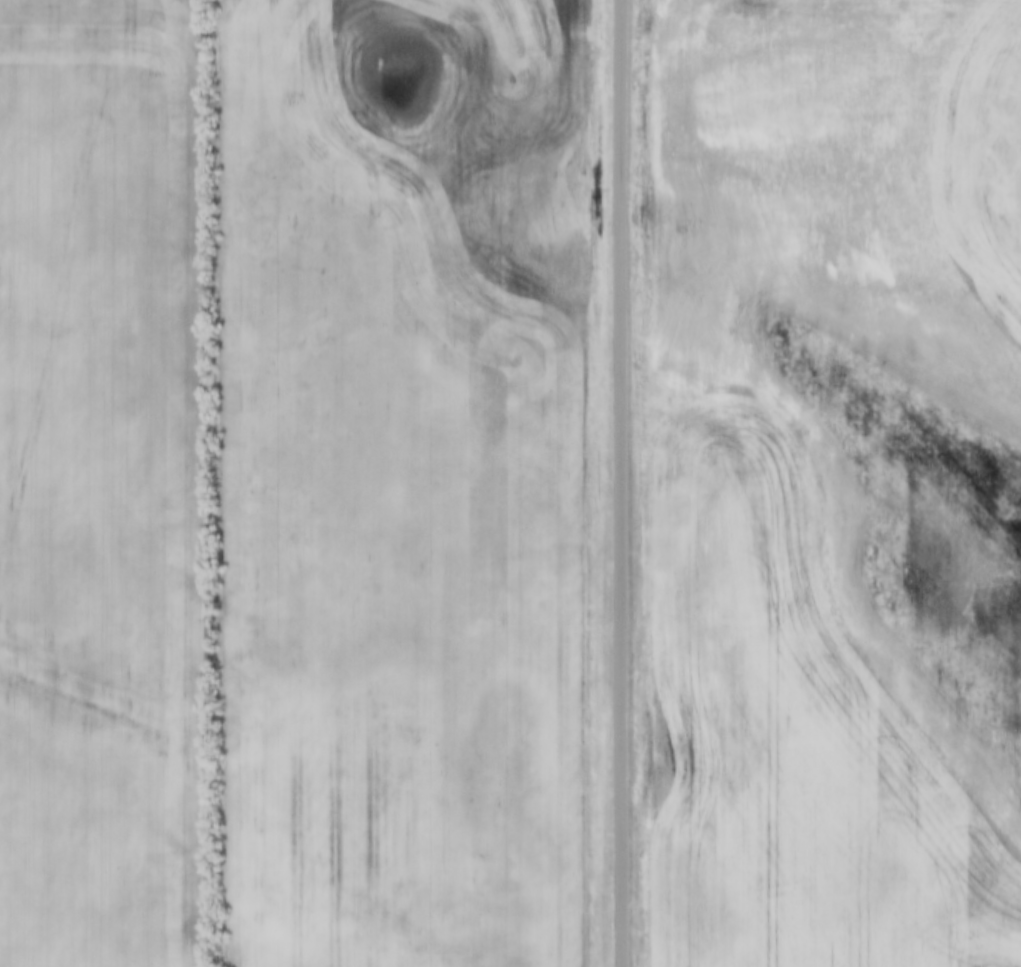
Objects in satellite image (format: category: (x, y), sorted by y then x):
road: (623, 483)

